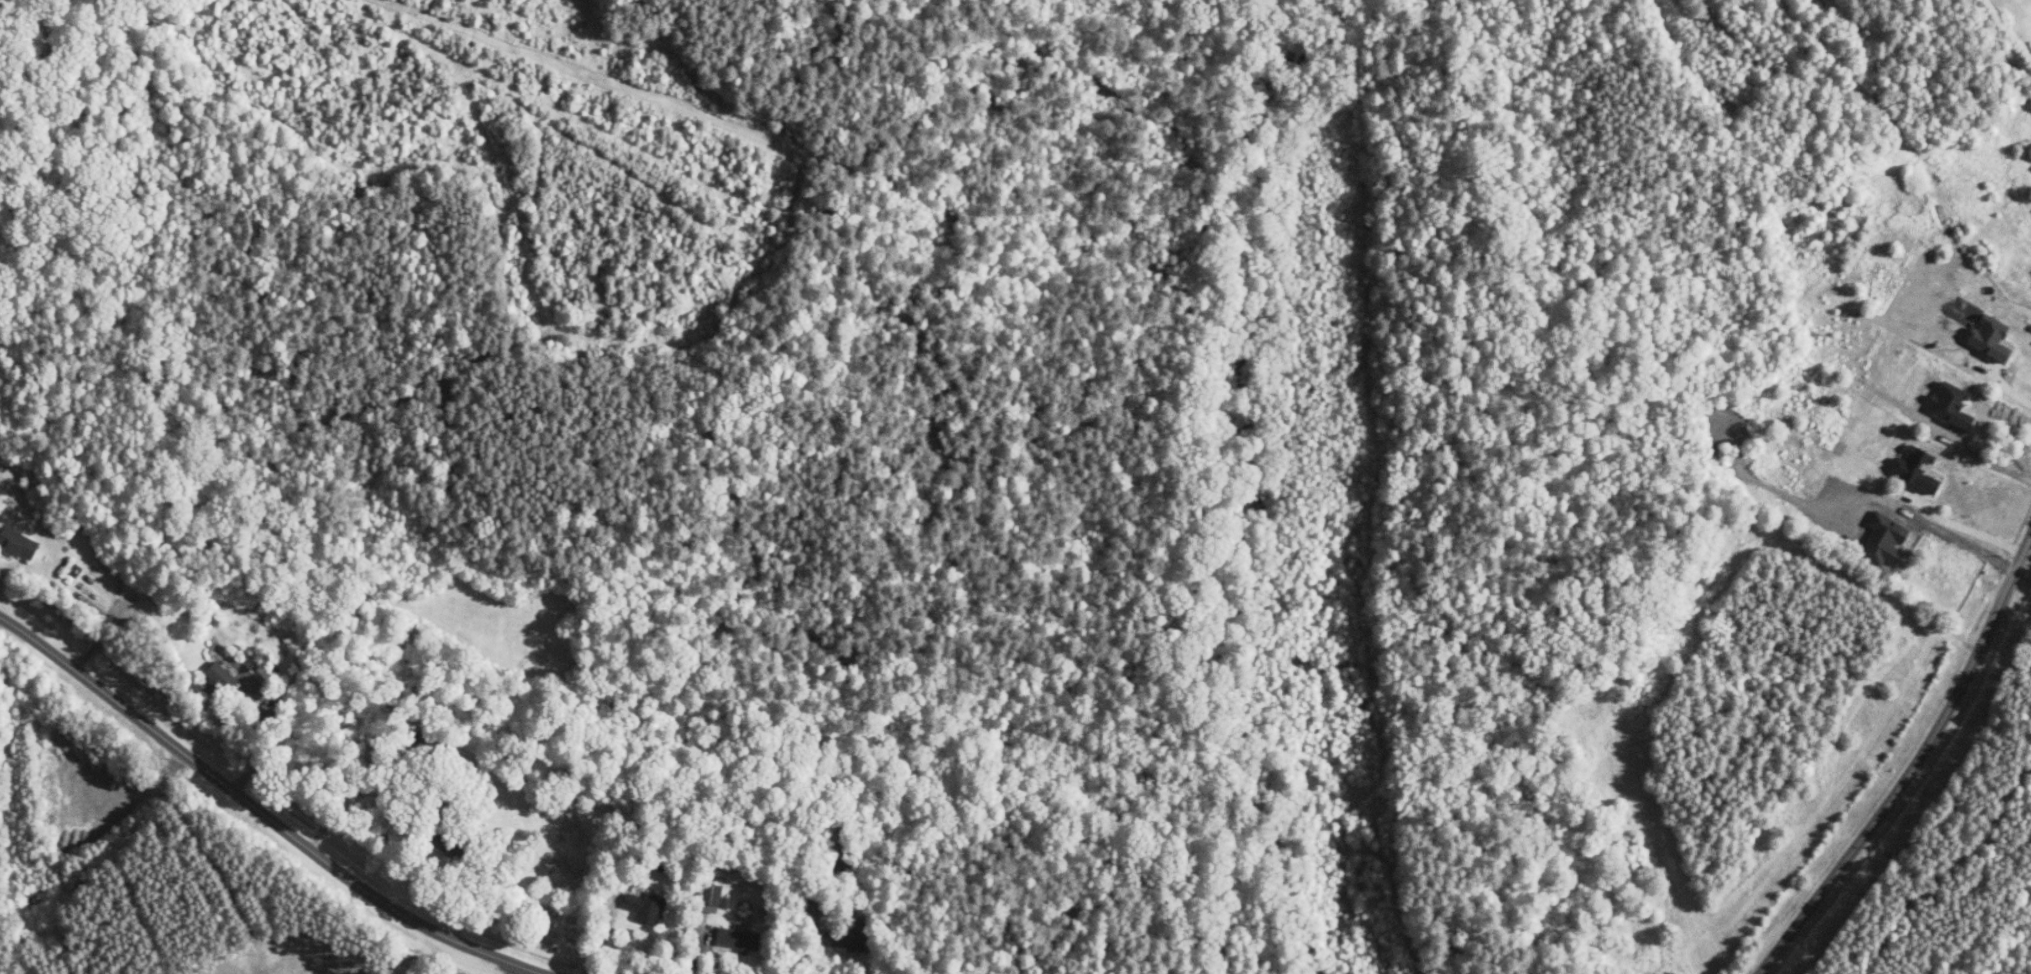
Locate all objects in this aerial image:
building: (1992, 337)
road: (2009, 387)
building: (1918, 469)
road: (1968, 532)
road: (1909, 758)
road: (278, 809)
road: (531, 967)

